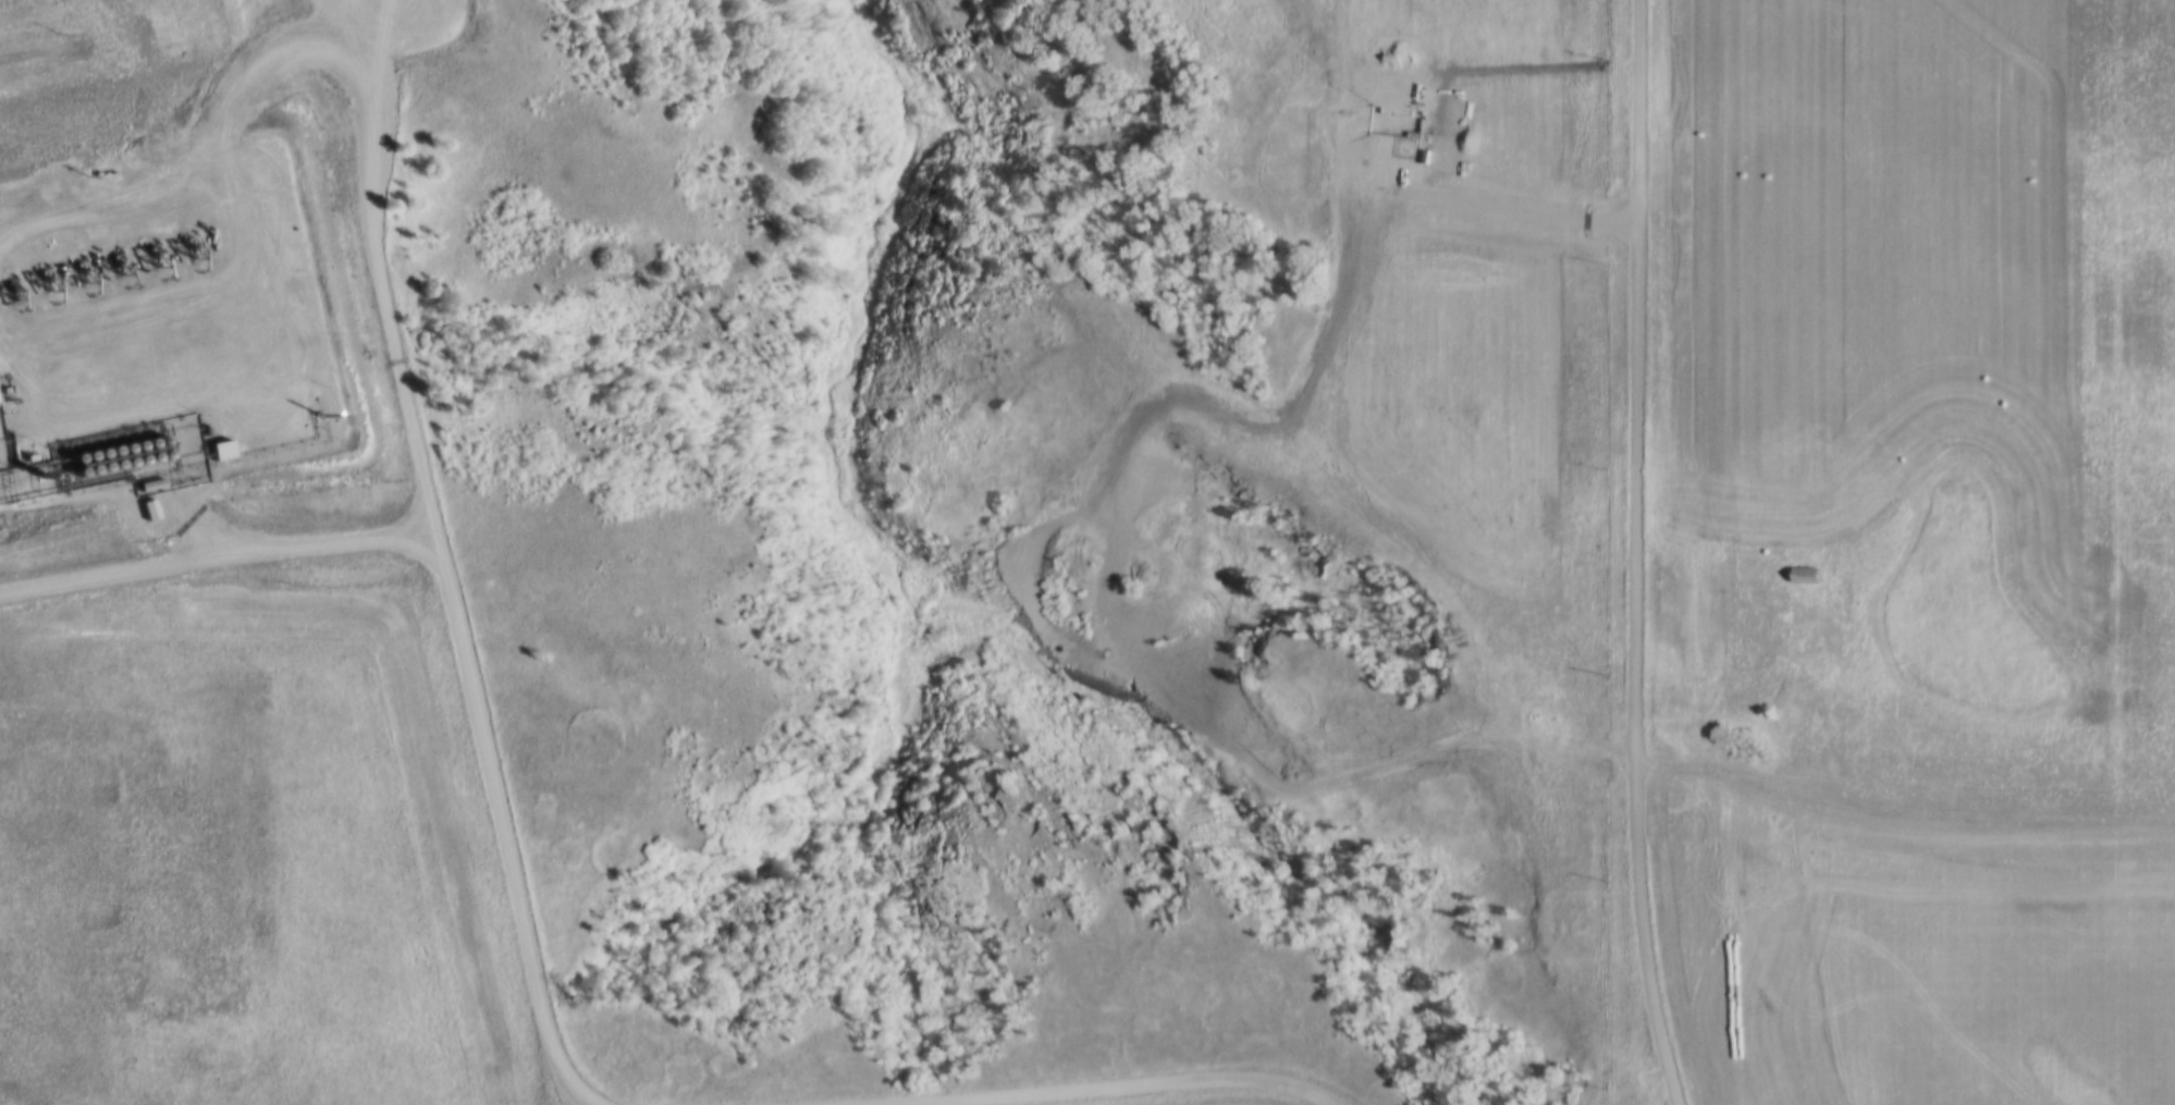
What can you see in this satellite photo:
road: (1634, 553)
road: (1138, 1090)

